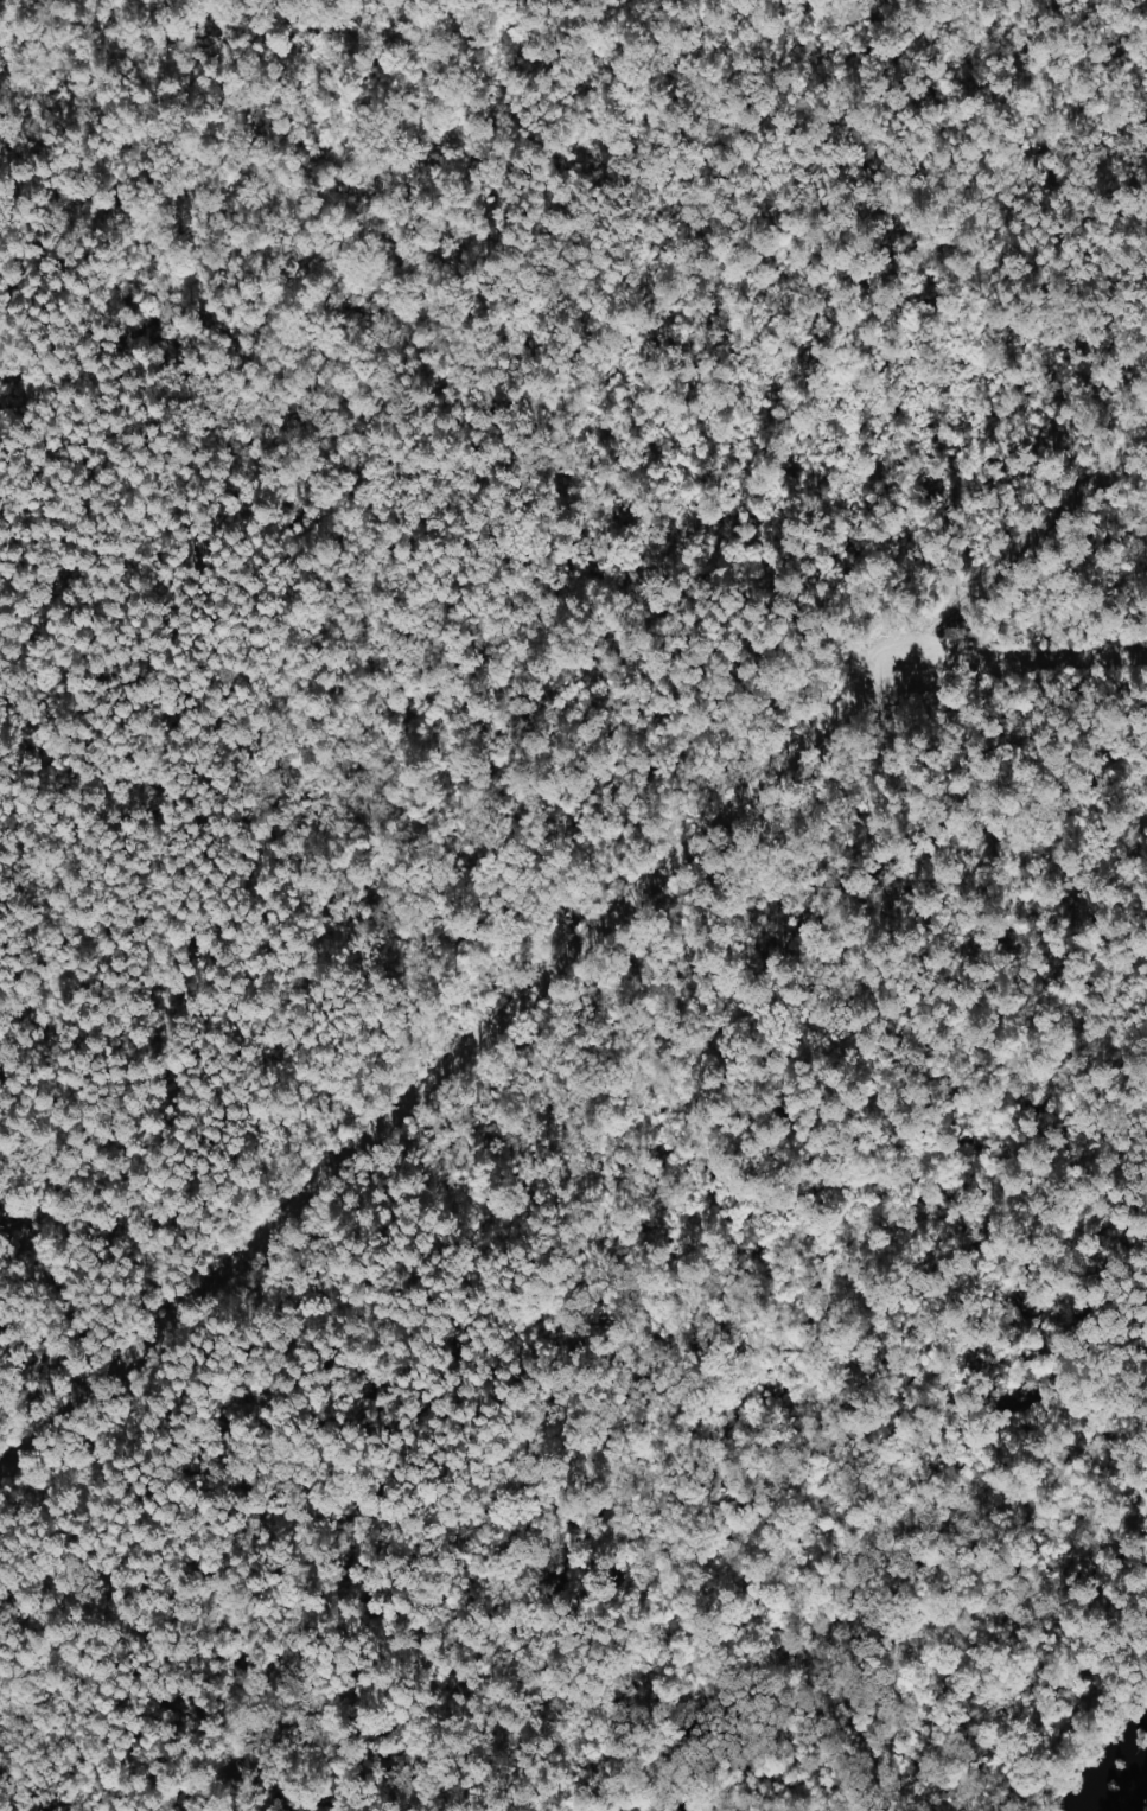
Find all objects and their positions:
river: (1135, 1791)

